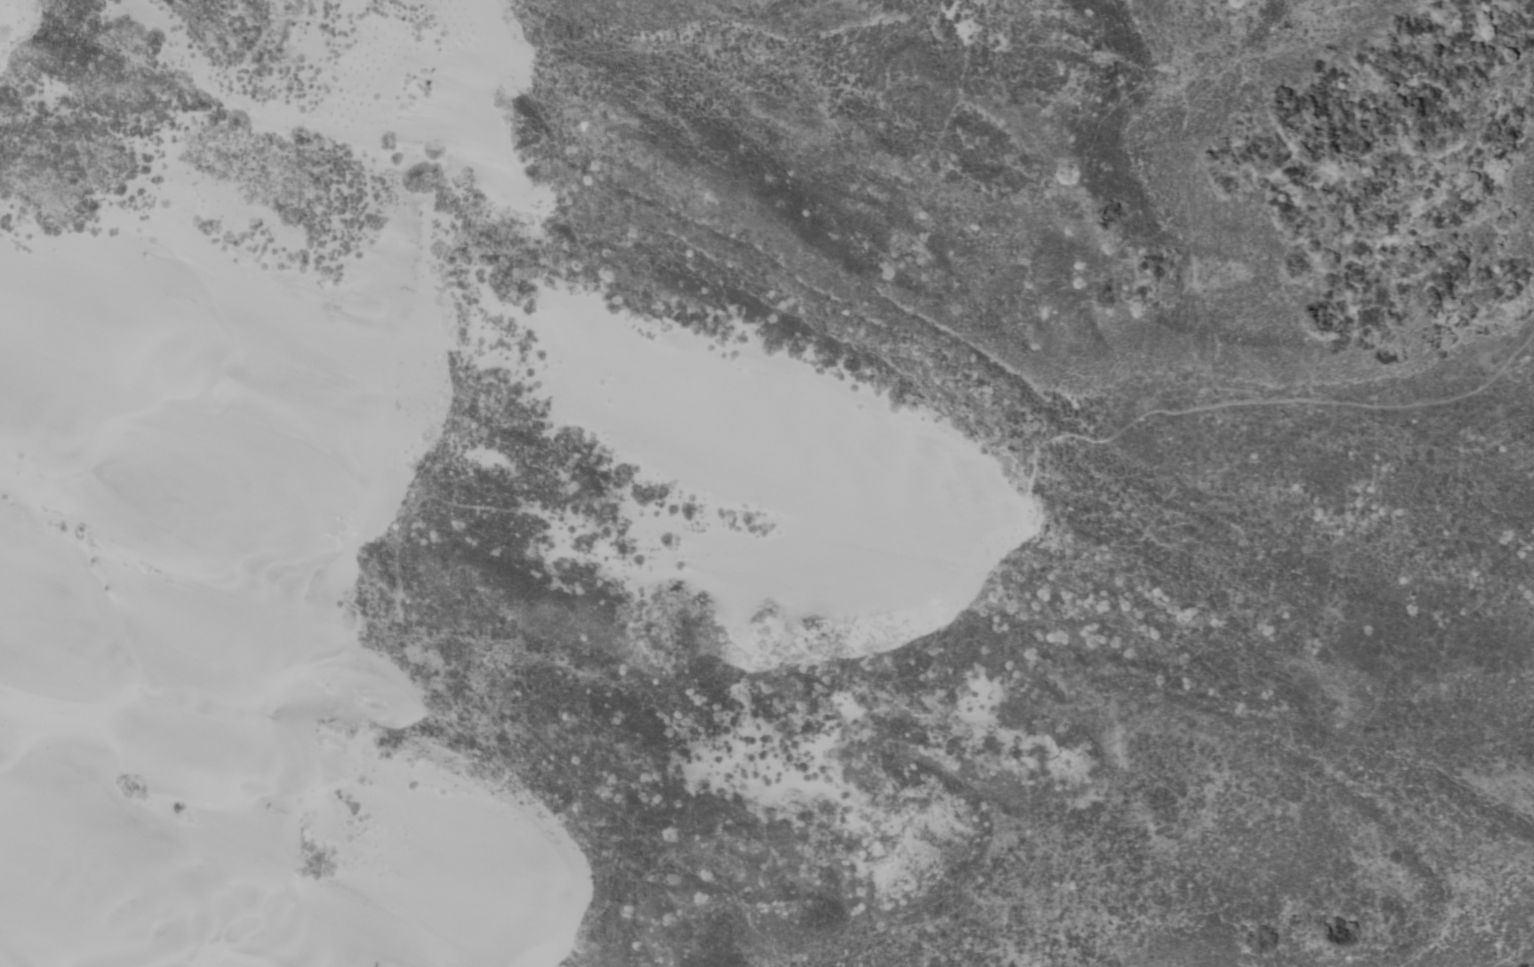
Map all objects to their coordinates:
park: (767, 483)

